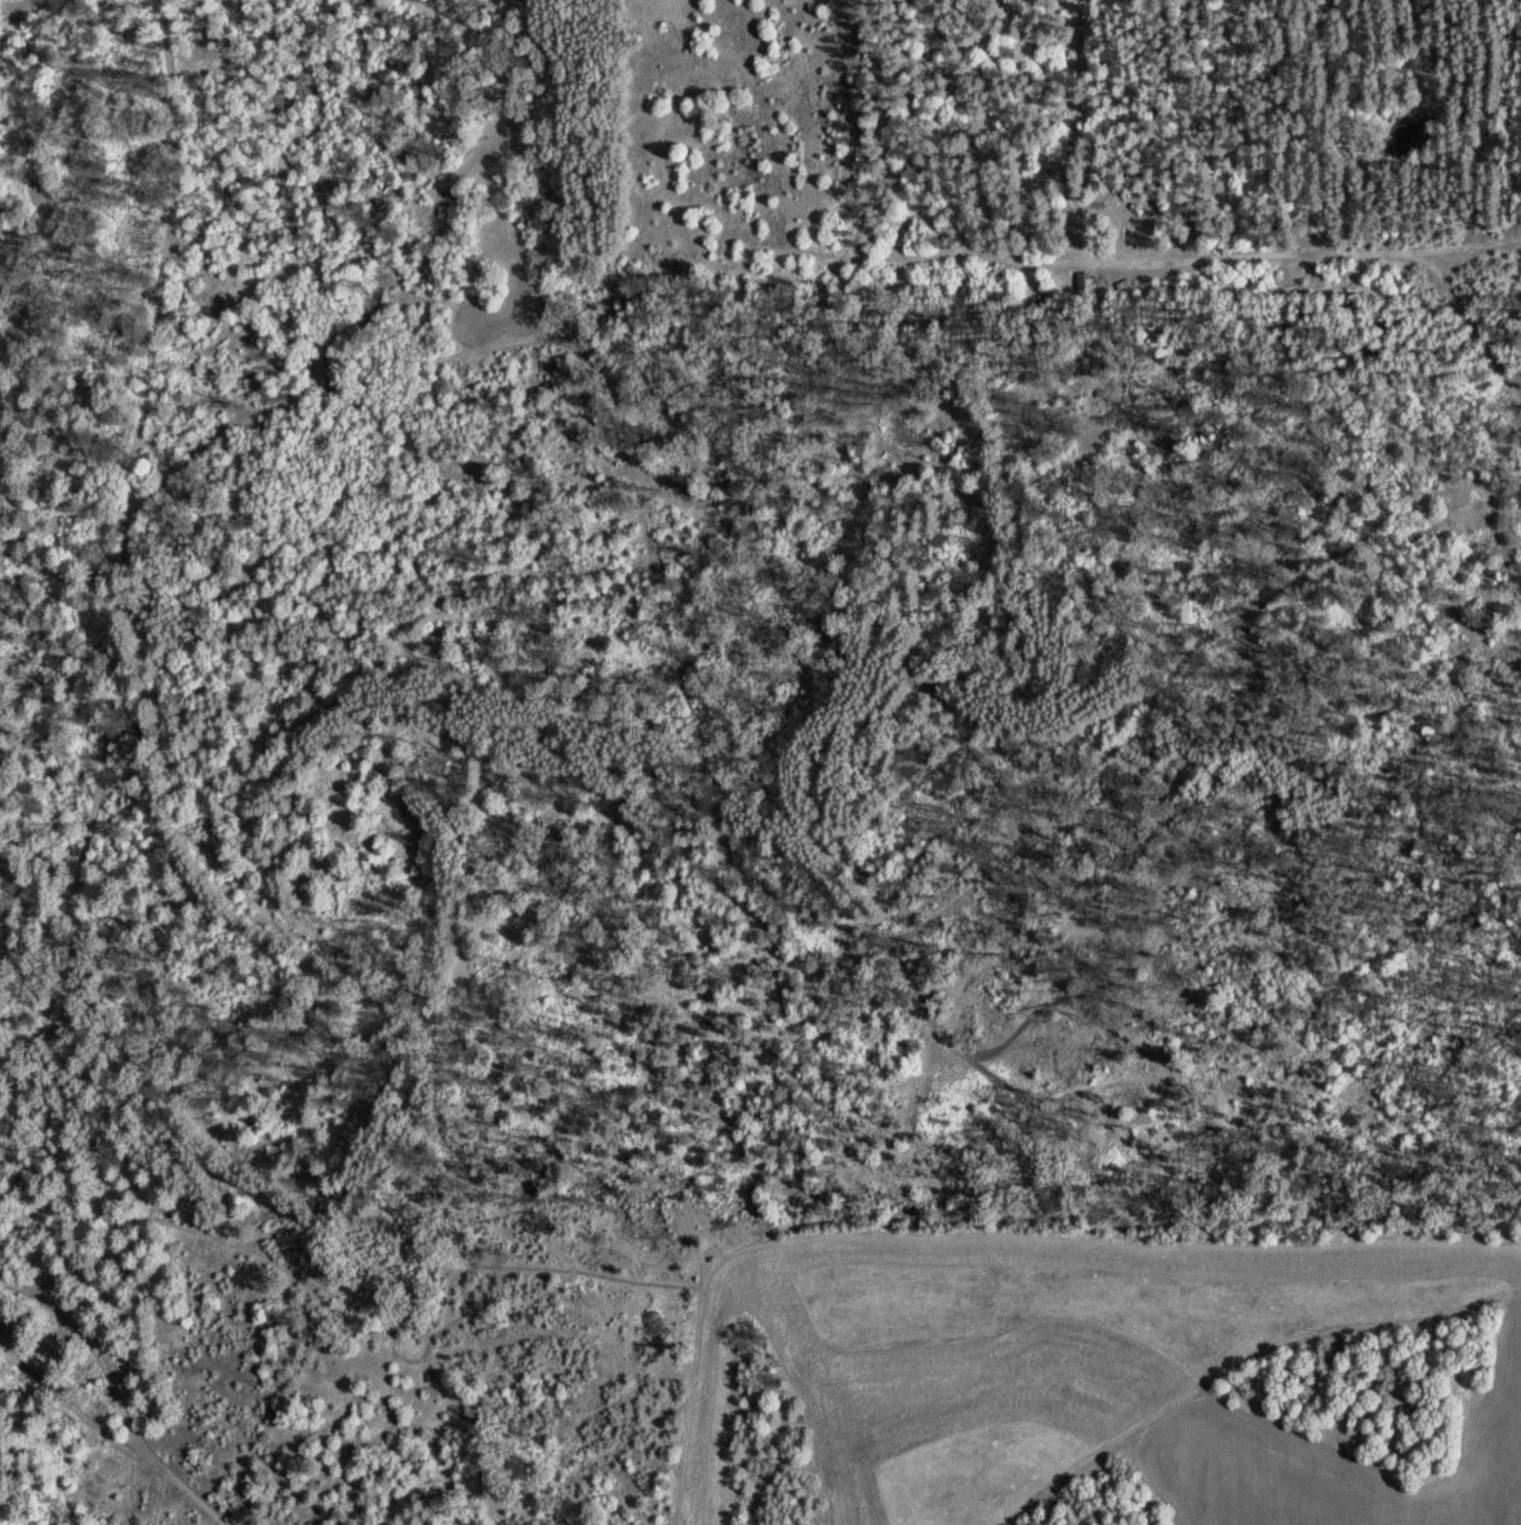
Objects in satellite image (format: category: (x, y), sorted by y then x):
building: (1079, 281)

